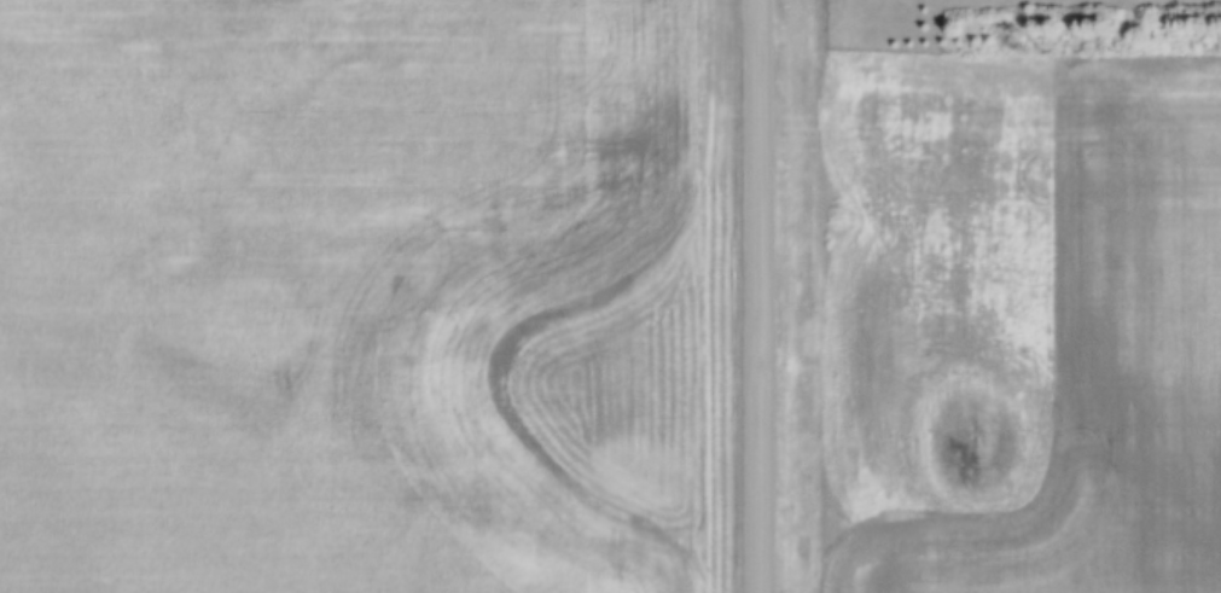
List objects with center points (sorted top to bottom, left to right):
road: (758, 296)

